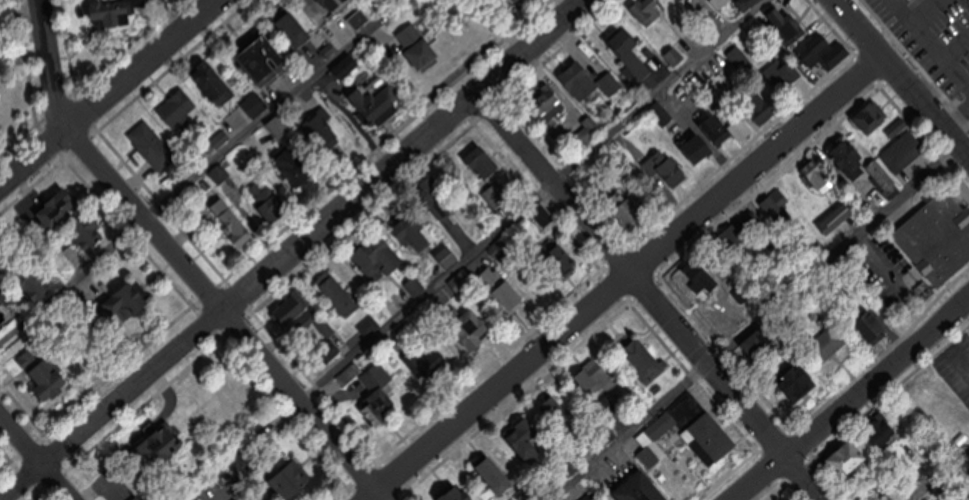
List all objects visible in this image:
road: (894, 1)
building: (516, 2)
building: (753, 2)
building: (134, 3)
building: (335, 4)
parking lot: (888, 5)
road: (14, 12)
building: (645, 12)
building: (359, 20)
road: (889, 20)
road: (161, 23)
building: (784, 26)
road: (950, 26)
building: (296, 30)
parking lot: (940, 38)
road: (930, 42)
building: (419, 47)
building: (627, 50)
building: (821, 52)
building: (265, 60)
road: (961, 62)
building: (349, 64)
building: (791, 71)
road: (900, 79)
building: (591, 82)
building: (213, 83)
road: (110, 92)
building: (548, 102)
building: (256, 104)
building: (382, 105)
building: (759, 107)
building: (179, 109)
building: (658, 112)
road: (955, 117)
building: (868, 118)
building: (279, 127)
building: (322, 129)
building: (722, 130)
building: (151, 146)
building: (697, 149)
building: (901, 151)
building: (484, 161)
building: (860, 165)
building: (295, 169)
building: (219, 172)
building: (814, 174)
road: (184, 178)
building: (433, 190)
building: (496, 194)
building: (270, 202)
building: (443, 207)
building: (58, 209)
building: (772, 210)
building: (628, 211)
building: (544, 215)
building: (231, 221)
road: (502, 221)
building: (416, 237)
building: (935, 239)
building: (88, 241)
road: (290, 247)
building: (502, 251)
road: (875, 255)
building: (449, 256)
building: (563, 261)
road: (180, 263)
building: (378, 263)
building: (702, 278)
road: (627, 280)
building: (340, 296)
road: (651, 296)
building: (512, 297)
building: (126, 302)
building: (289, 309)
road: (749, 323)
building: (472, 329)
road: (953, 342)
building: (759, 343)
building: (829, 344)
building: (642, 358)
building: (595, 378)
building: (799, 381)
building: (49, 383)
building: (375, 395)
road: (850, 397)
building: (561, 417)
building: (524, 437)
building: (656, 438)
building: (710, 439)
road: (35, 458)
building: (850, 461)
building: (495, 475)
building: (289, 481)
building: (642, 489)
building: (458, 494)
building: (135, 498)

